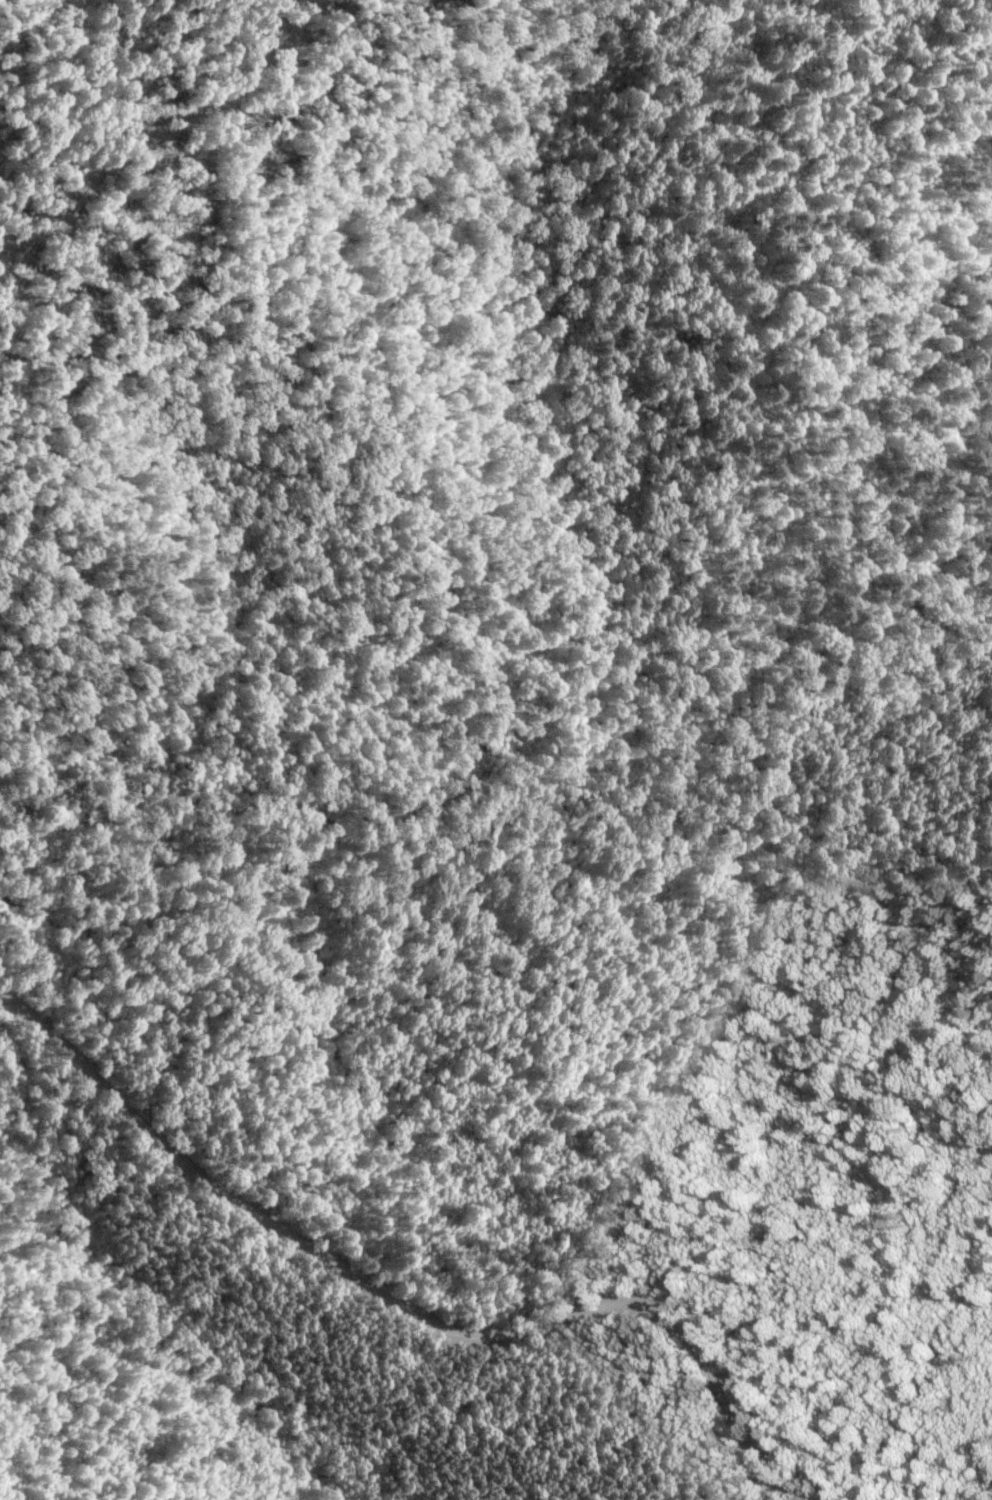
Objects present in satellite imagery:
road: (179, 130)
road: (75, 231)
road: (403, 1303)

